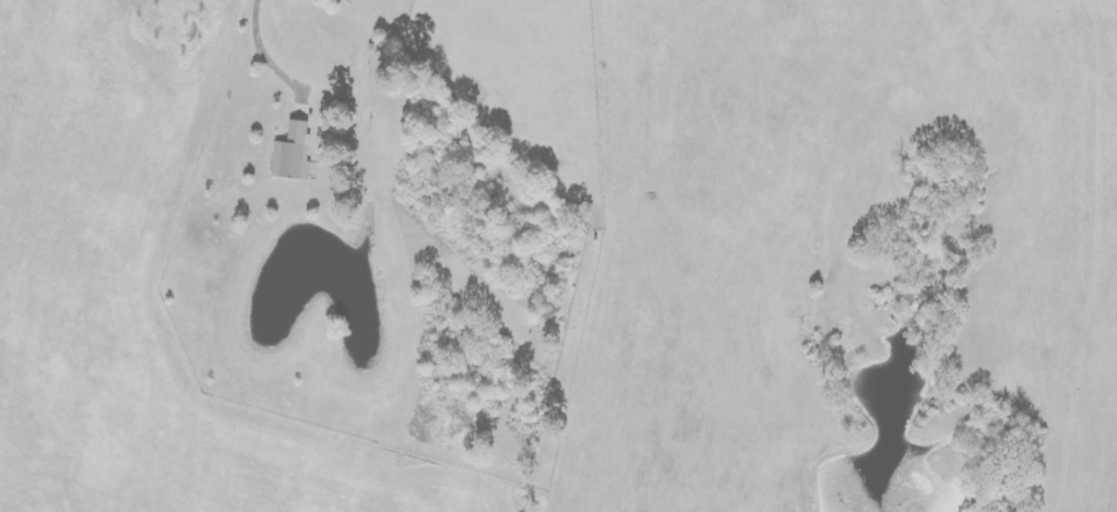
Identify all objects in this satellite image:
building: (290, 153)

